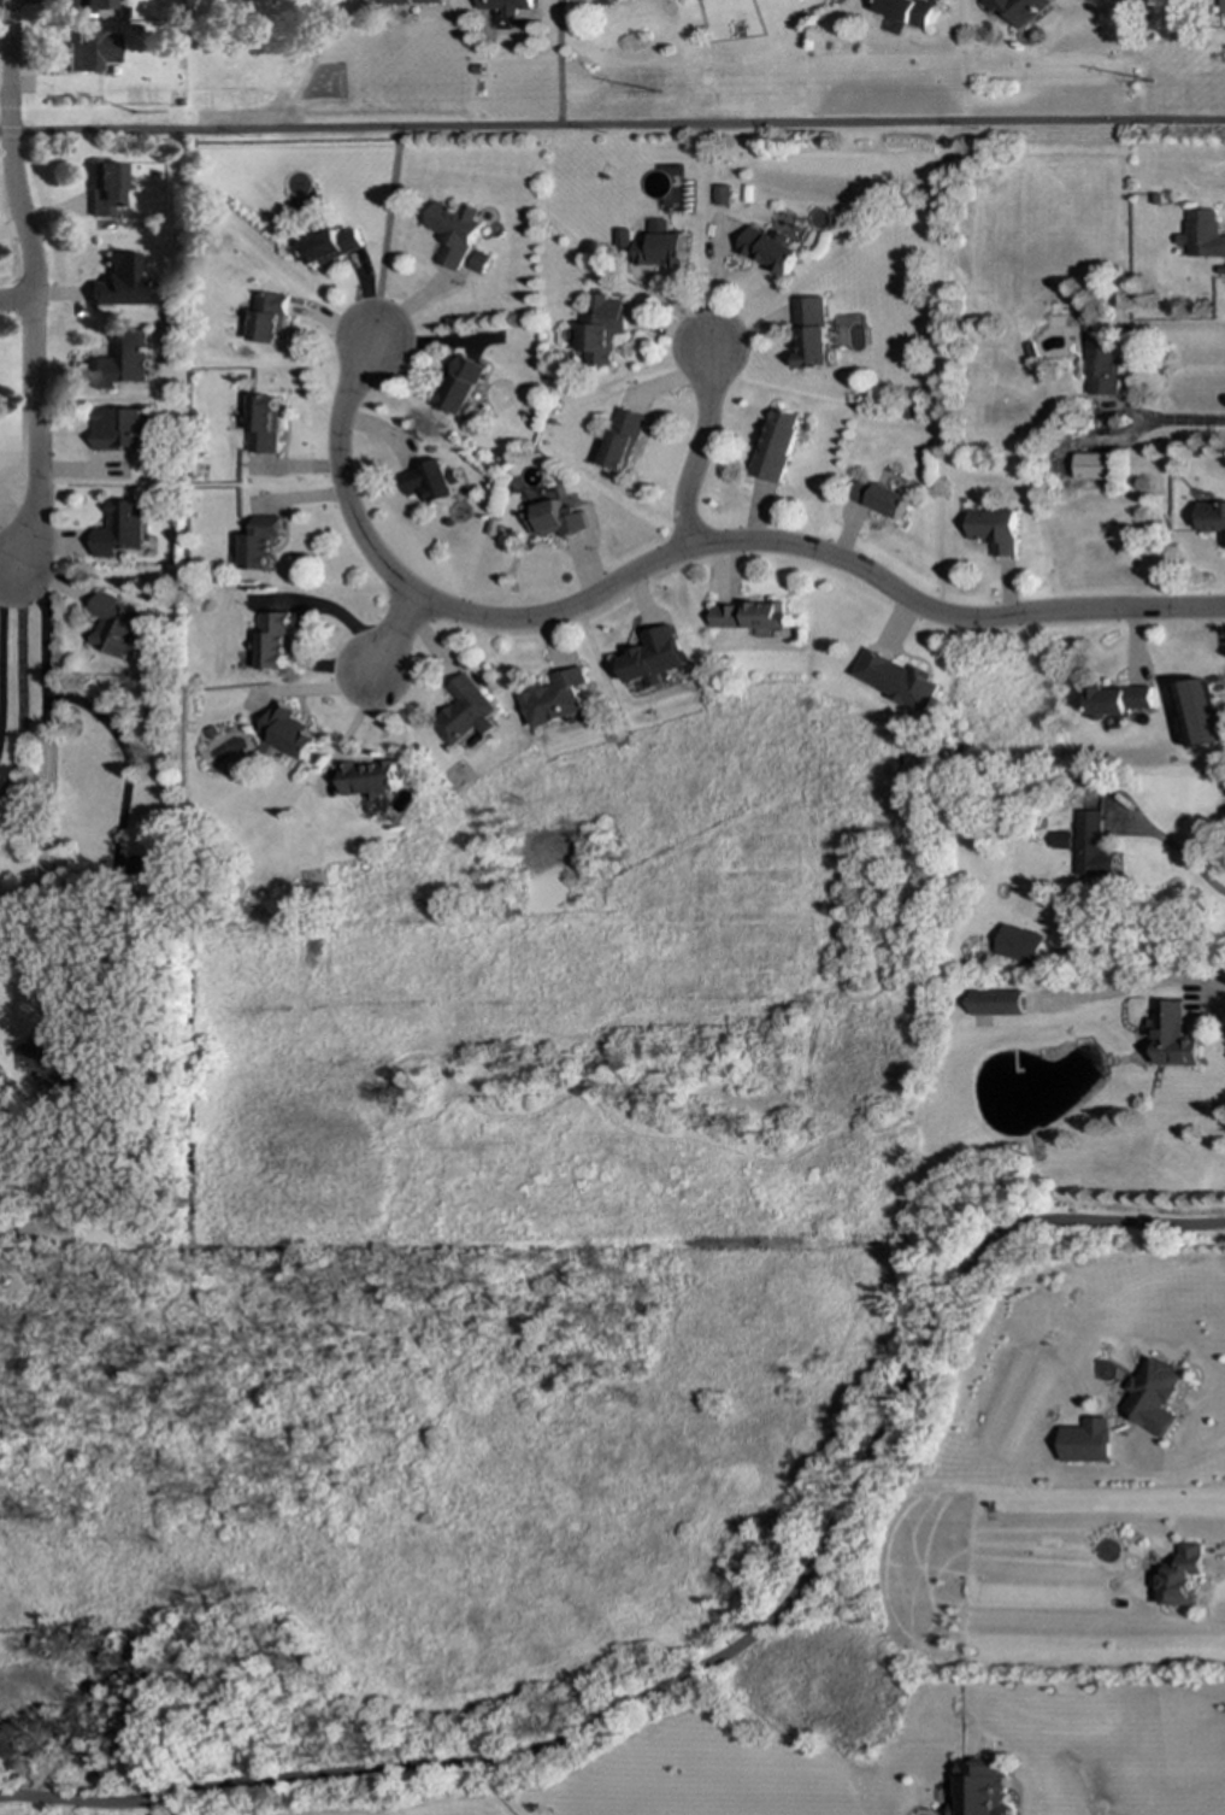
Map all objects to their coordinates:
building: (412, 1)
building: (99, 5)
building: (1217, 5)
building: (505, 6)
building: (1020, 10)
building: (92, 52)
road: (559, 61)
power tower: (1220, 83)
power tower: (676, 88)
power tower: (131, 95)
road: (612, 123)
road: (10, 151)
building: (106, 188)
building: (724, 196)
road: (385, 231)
building: (454, 231)
building: (1202, 235)
building: (330, 246)
building: (664, 251)
building: (771, 251)
building: (481, 263)
building: (120, 282)
road: (17, 300)
building: (267, 317)
building: (602, 329)
building: (814, 333)
building: (122, 360)
building: (1102, 368)
building: (463, 387)
road: (1174, 421)
building: (261, 424)
building: (118, 429)
road: (33, 436)
building: (625, 440)
building: (778, 446)
road: (701, 450)
building: (1095, 466)
building: (430, 482)
building: (883, 499)
building: (1213, 518)
building: (555, 519)
building: (117, 529)
building: (996, 530)
building: (259, 542)
road: (672, 554)
road: (6, 563)
road: (6, 571)
road: (6, 588)
building: (753, 617)
building: (113, 625)
road: (394, 634)
building: (273, 641)
building: (655, 657)
building: (897, 680)
road: (19, 682)
building: (555, 699)
building: (1120, 700)
building: (466, 712)
building: (1200, 713)
building: (288, 733)
road: (120, 746)
building: (370, 777)
road: (43, 817)
road: (1171, 846)
building: (1095, 847)
building: (1020, 945)
building: (53, 983)
road: (1141, 986)
building: (996, 1003)
building: (1172, 1036)
building: (54, 1058)
building: (1154, 1396)
building: (1088, 1441)
road: (1171, 1461)
road: (1217, 1558)
building: (1182, 1576)
road: (717, 1658)
building: (980, 1790)

